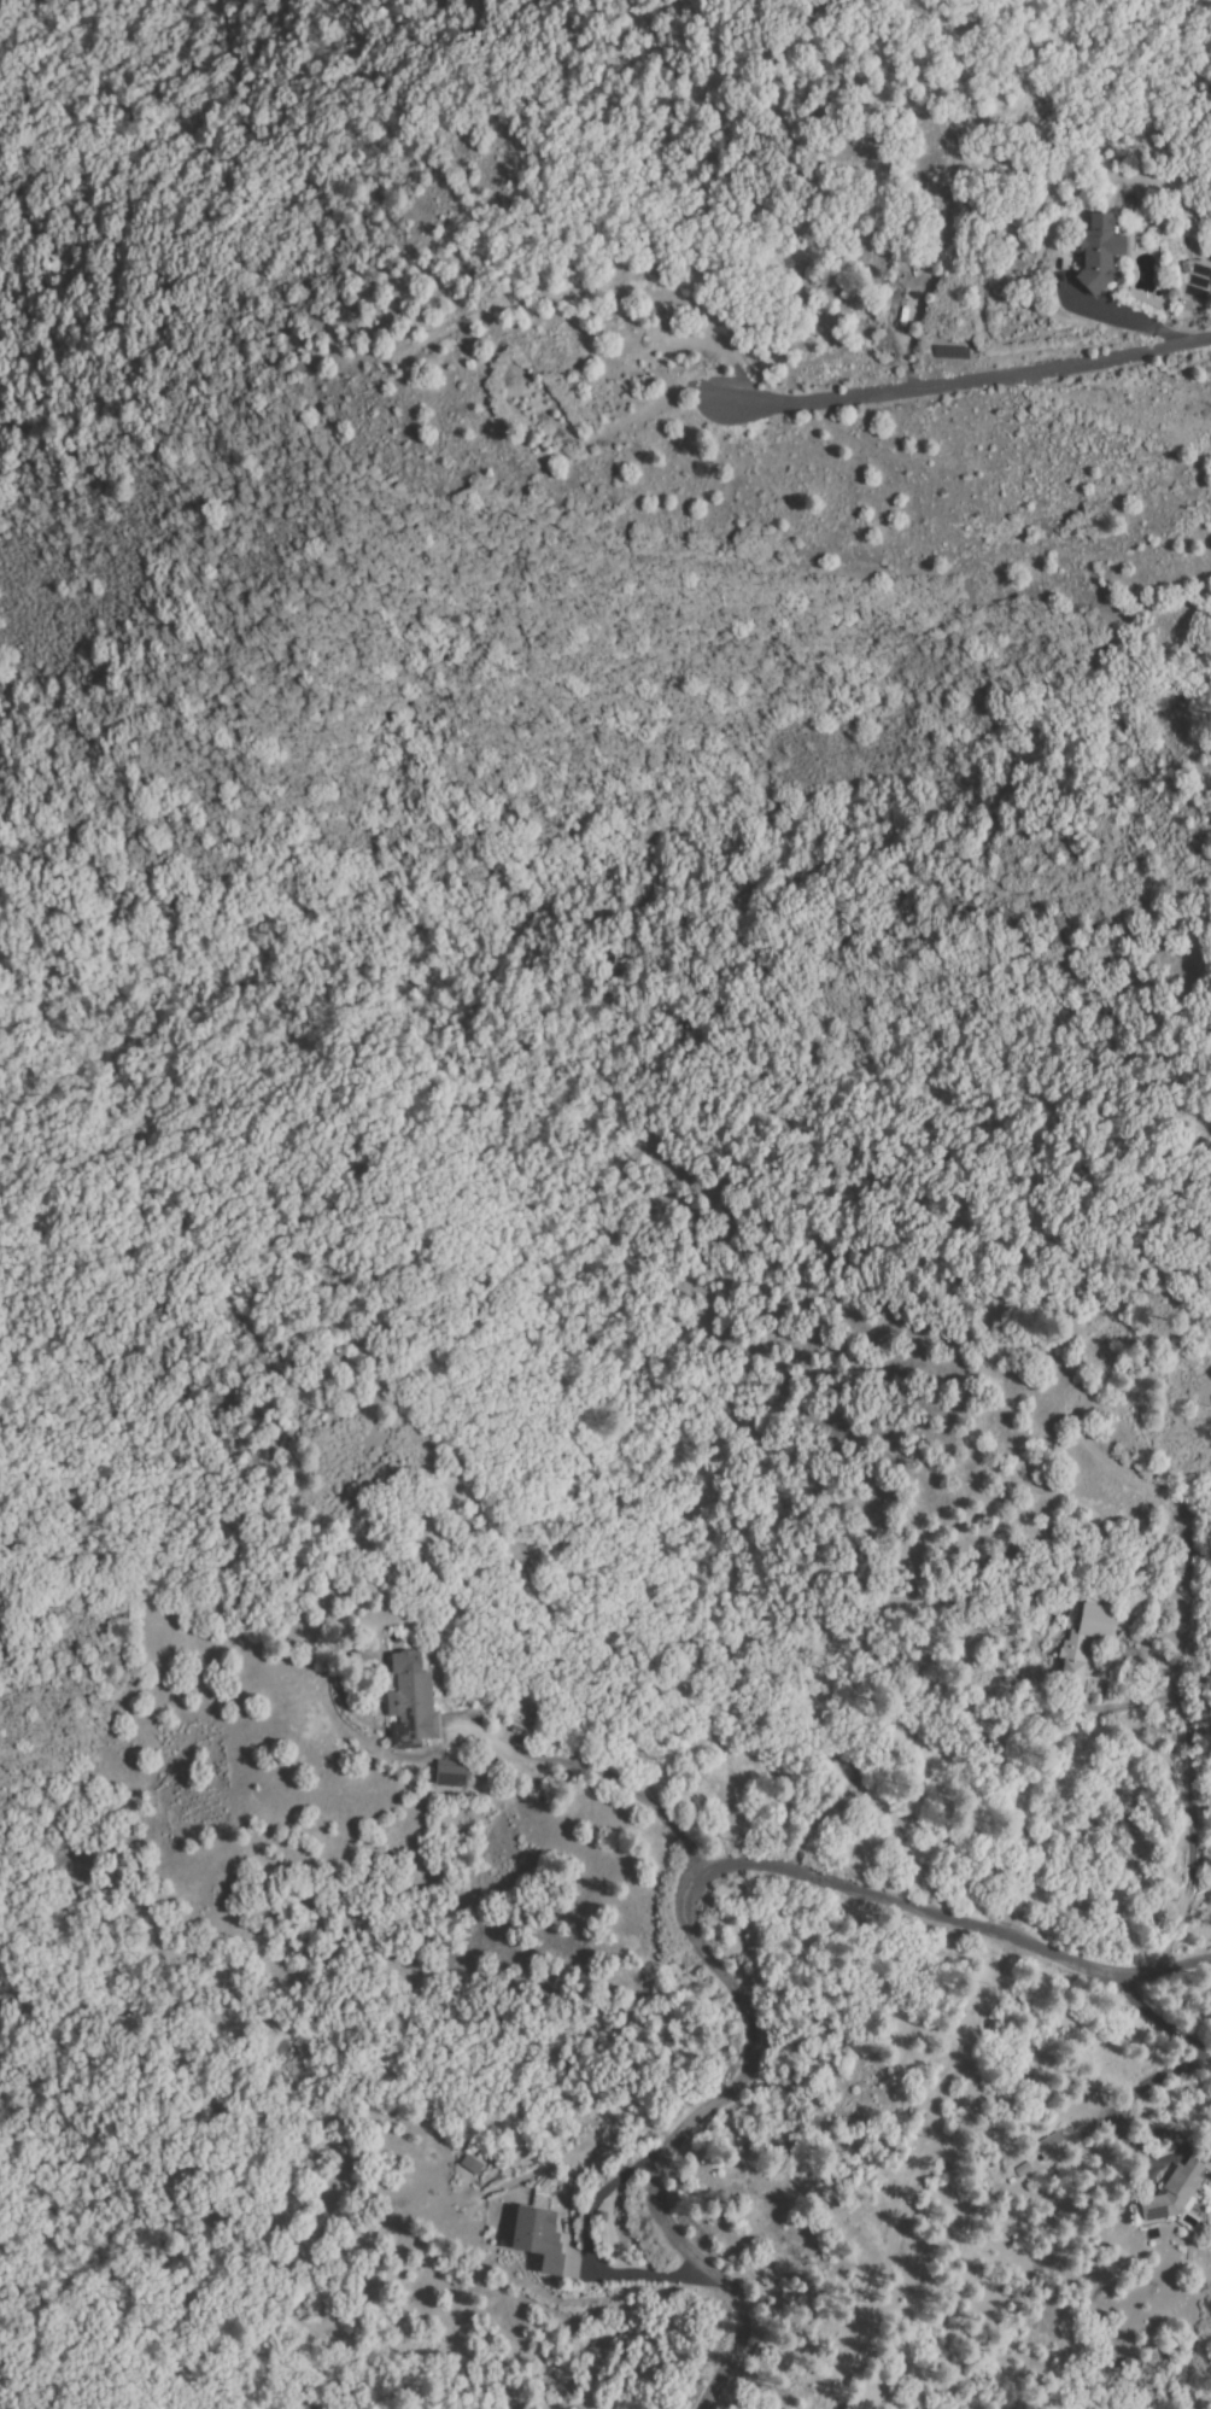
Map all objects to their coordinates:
building: (1099, 255)
road: (960, 378)
building: (1084, 1644)
building: (413, 1705)
building: (452, 1773)
road: (603, 1789)
road: (667, 1922)
building: (1052, 2147)
building: (470, 2161)
building: (1175, 2192)
building: (560, 2202)
building: (538, 2236)

